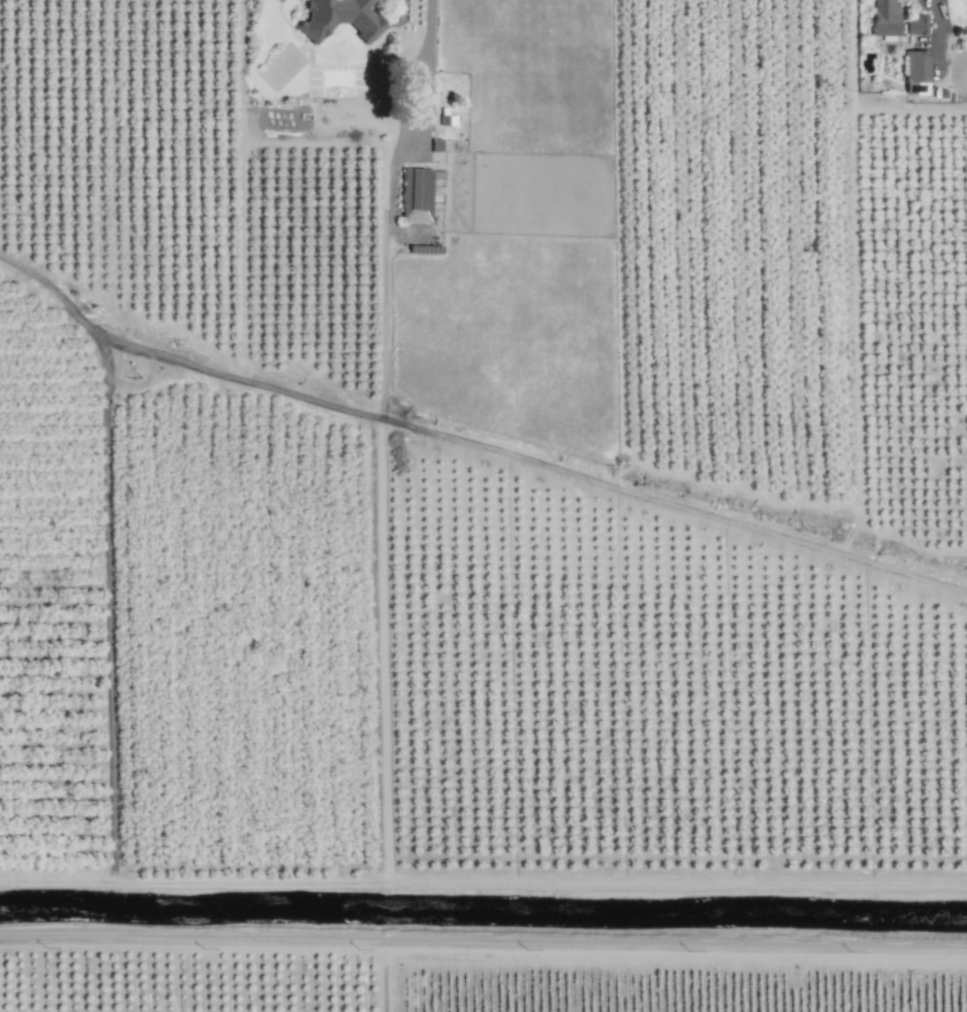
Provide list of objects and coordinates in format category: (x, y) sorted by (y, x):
building: (885, 18)
building: (340, 19)
building: (916, 25)
road: (428, 58)
building: (915, 73)
building: (435, 145)
road: (483, 889)
road: (483, 940)
road: (388, 975)

